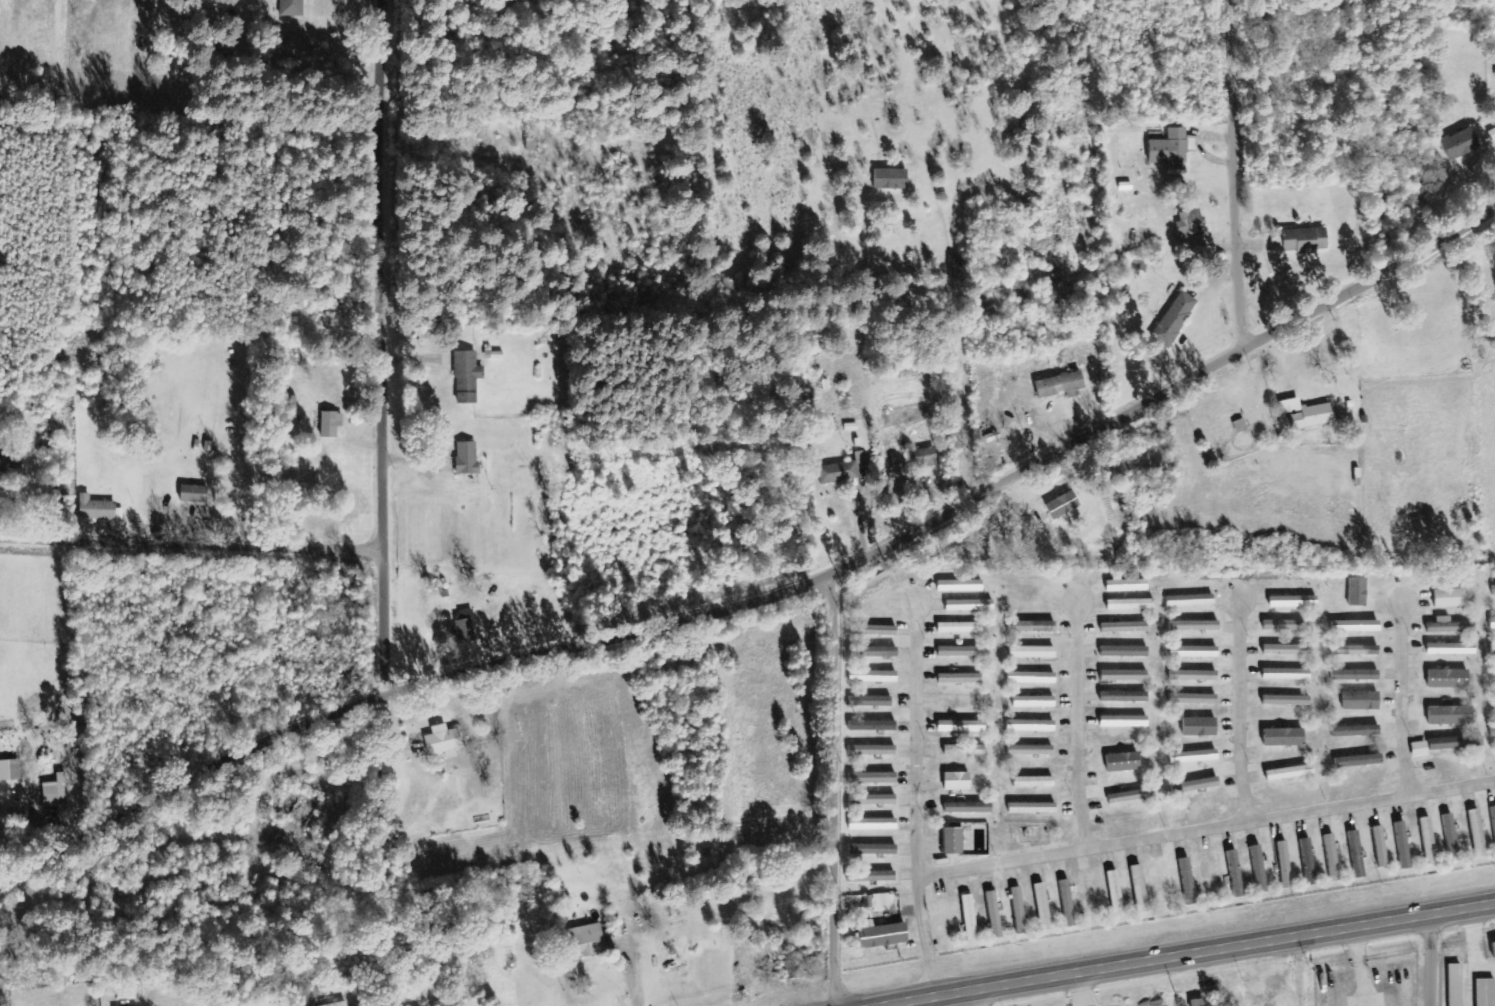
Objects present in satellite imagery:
building: (291, 8)
building: (1460, 144)
building: (1171, 150)
road: (1236, 174)
building: (891, 179)
building: (1190, 225)
building: (1301, 240)
building: (1175, 320)
road: (394, 345)
building: (467, 377)
building: (1060, 386)
building: (906, 415)
building: (1307, 415)
building: (331, 425)
building: (467, 458)
building: (923, 458)
building: (10, 460)
building: (843, 471)
building: (194, 495)
building: (1063, 506)
building: (98, 510)
road: (196, 547)
building: (1126, 585)
building: (960, 586)
building: (1493, 591)
building: (1358, 592)
building: (872, 594)
building: (1450, 599)
road: (768, 600)
building: (1190, 601)
building: (1293, 602)
building: (1131, 605)
building: (969, 606)
building: (1492, 624)
building: (1194, 626)
building: (1285, 626)
building: (1356, 626)
building: (465, 627)
building: (1031, 627)
building: (1449, 627)
building: (960, 628)
building: (1124, 628)
building: (874, 631)
building: (1451, 649)
building: (1492, 649)
building: (1287, 650)
building: (1363, 650)
building: (961, 652)
building: (1032, 652)
building: (1124, 652)
building: (1194, 652)
building: (1286, 675)
building: (1124, 676)
building: (1193, 676)
building: (1355, 676)
building: (873, 677)
building: (1031, 678)
building: (960, 679)
building: (1449, 679)
road: (1401, 695)
building: (1124, 697)
building: (1193, 699)
building: (870, 701)
building: (1286, 701)
building: (1362, 701)
building: (1034, 702)
road: (1239, 709)
building: (1451, 716)
building: (1124, 722)
road: (1078, 723)
building: (873, 726)
building: (1031, 726)
building: (1200, 727)
building: (1357, 731)
building: (1493, 732)
building: (1284, 738)
building: (443, 742)
building: (1456, 744)
building: (1420, 750)
building: (871, 751)
building: (964, 751)
building: (1031, 751)
building: (1193, 757)
building: (1359, 761)
building: (1123, 763)
building: (10, 771)
building: (1290, 773)
building: (872, 779)
building: (957, 782)
building: (1033, 782)
building: (1195, 786)
building: (62, 789)
road: (833, 790)
building: (1131, 797)
road: (917, 798)
building: (872, 800)
building: (969, 808)
building: (1032, 808)
building: (1493, 822)
building: (872, 825)
road: (1206, 827)
building: (1477, 834)
building: (1451, 838)
building: (953, 841)
building: (1428, 842)
building: (1403, 845)
building: (1380, 847)
building: (873, 850)
building: (1357, 855)
building: (1332, 859)
building: (1308, 862)
building: (1284, 865)
building: (1259, 869)
building: (1236, 874)
building: (868, 876)
building: (1188, 882)
building: (1139, 889)
building: (1115, 895)
building: (880, 902)
building: (1067, 904)
building: (1042, 907)
building: (519, 909)
building: (1018, 911)
building: (994, 915)
building: (970, 919)
building: (881, 935)
building: (589, 941)
building: (1494, 948)
road: (1184, 952)
road: (1430, 958)
building: (800, 969)
road: (631, 972)
building: (1455, 985)
building: (1486, 992)
building: (1199, 1003)
building: (339, 1004)

